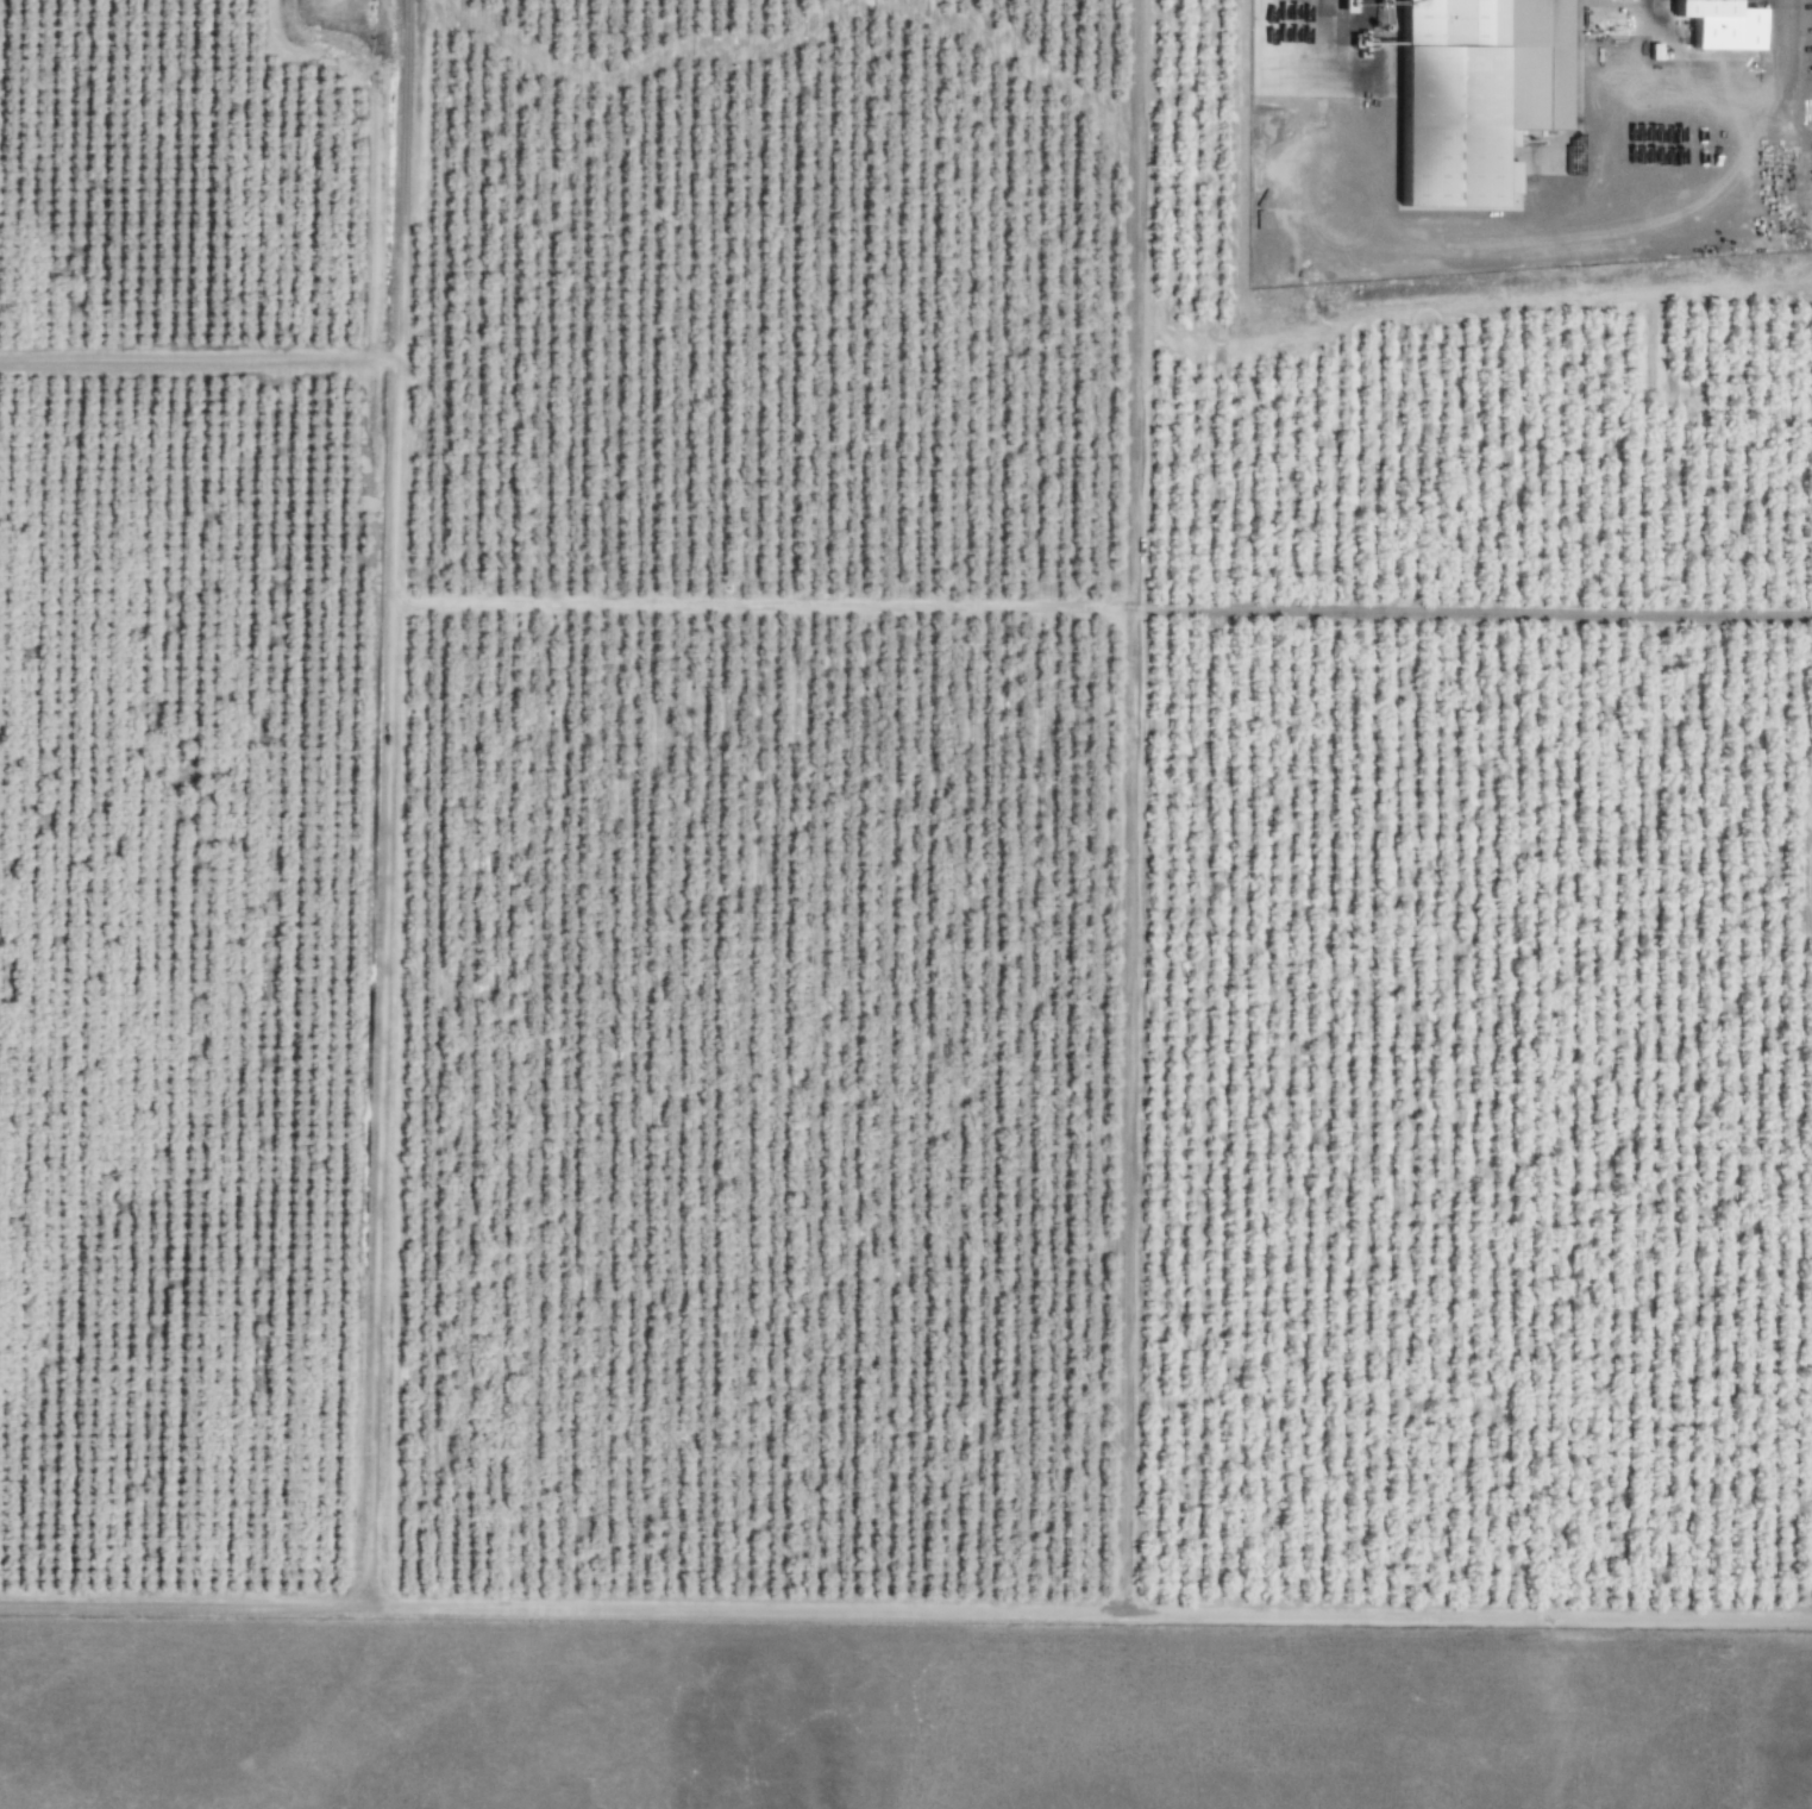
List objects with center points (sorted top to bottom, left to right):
building: (1705, 23)
building: (1469, 89)
road: (197, 358)
road: (759, 607)
road: (1471, 612)
road: (382, 803)
road: (1130, 807)
road: (905, 1613)

